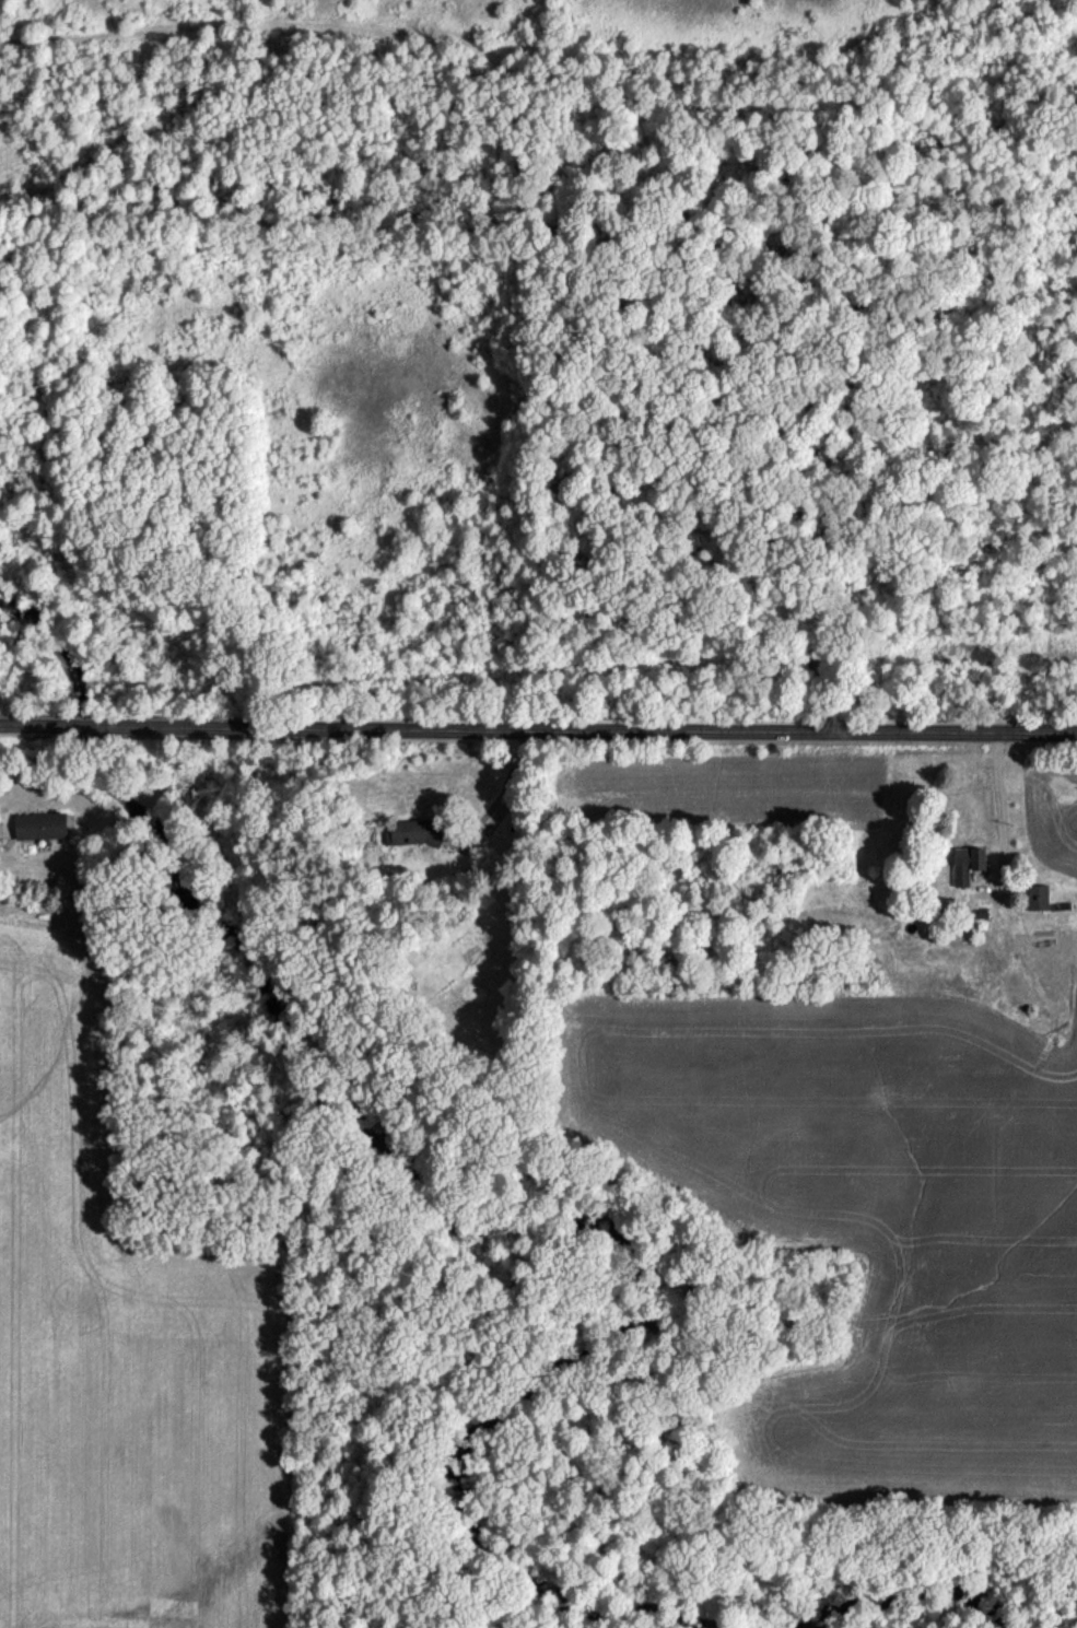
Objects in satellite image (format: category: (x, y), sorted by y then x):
park: (539, 368)
road: (538, 733)
road: (504, 794)
road: (997, 811)
building: (42, 830)
building: (412, 836)
building: (963, 868)
building: (1035, 902)

